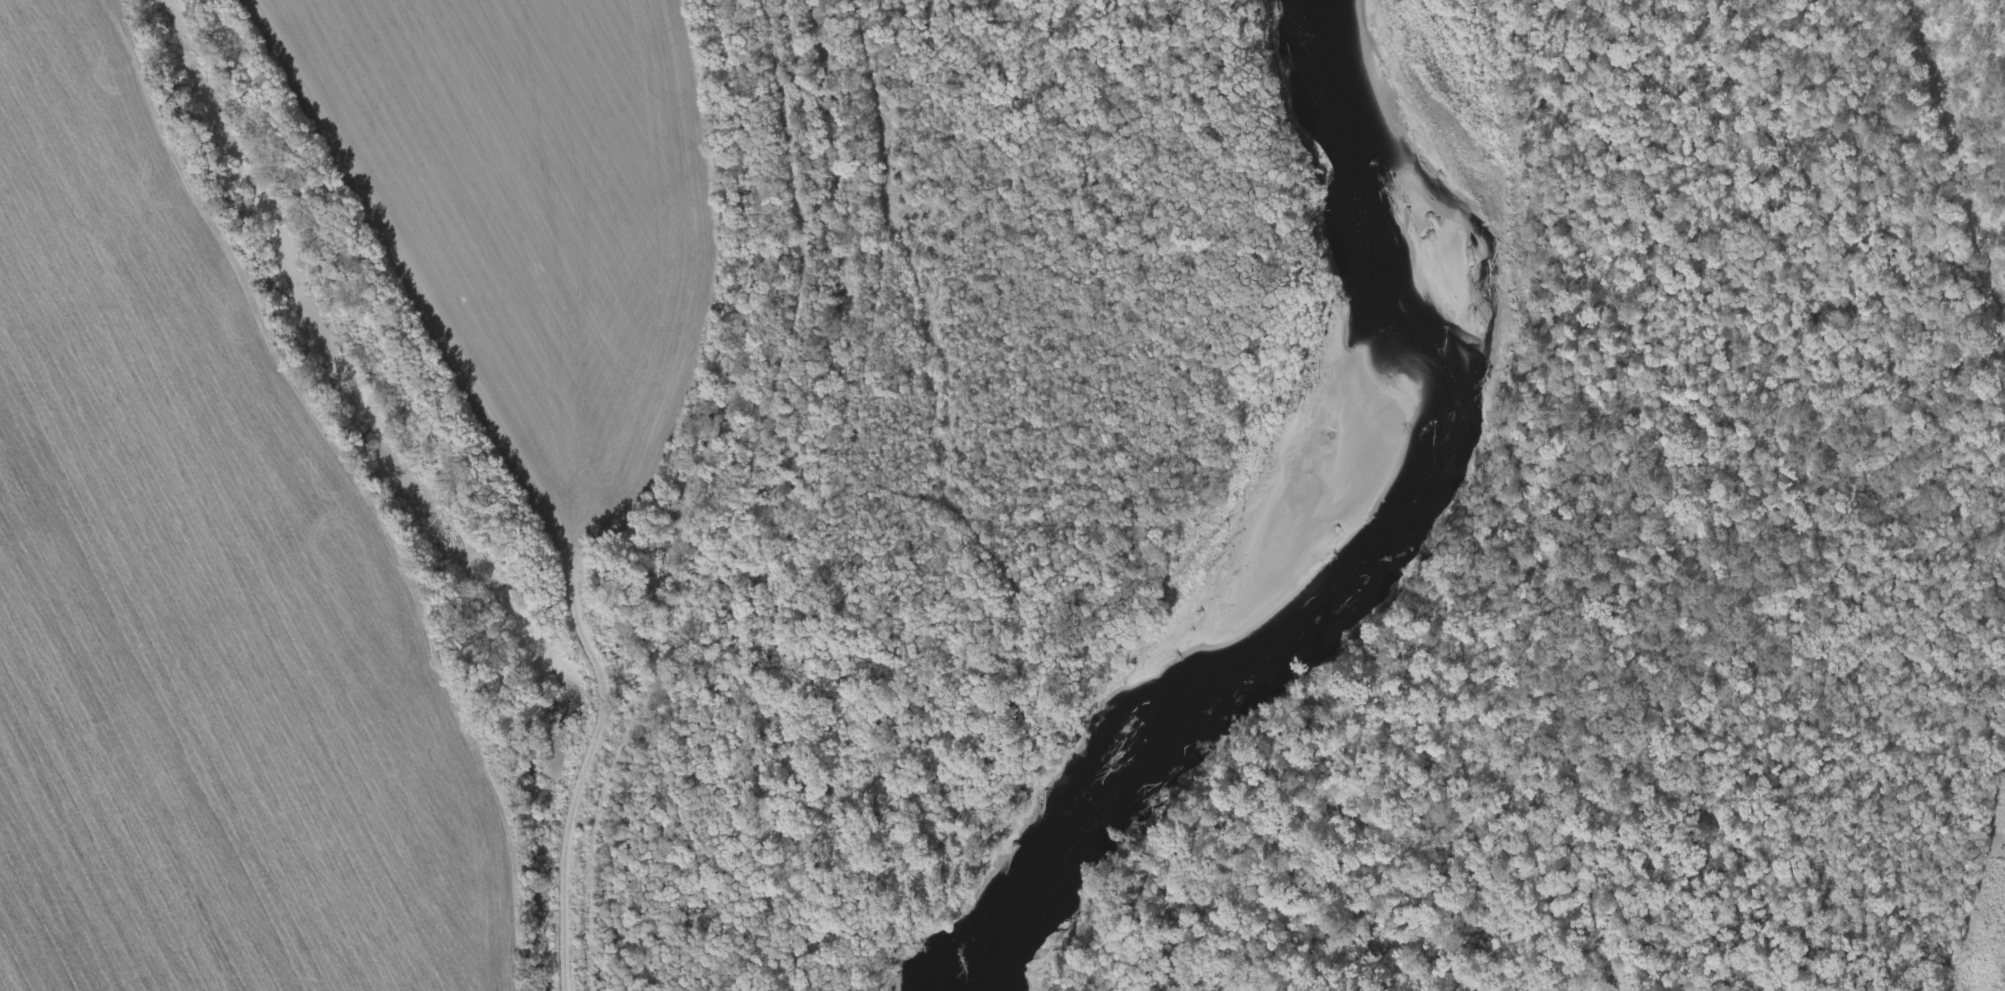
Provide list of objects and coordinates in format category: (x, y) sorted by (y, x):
crop: (537, 222)
river: (1281, 523)
crop: (216, 608)

